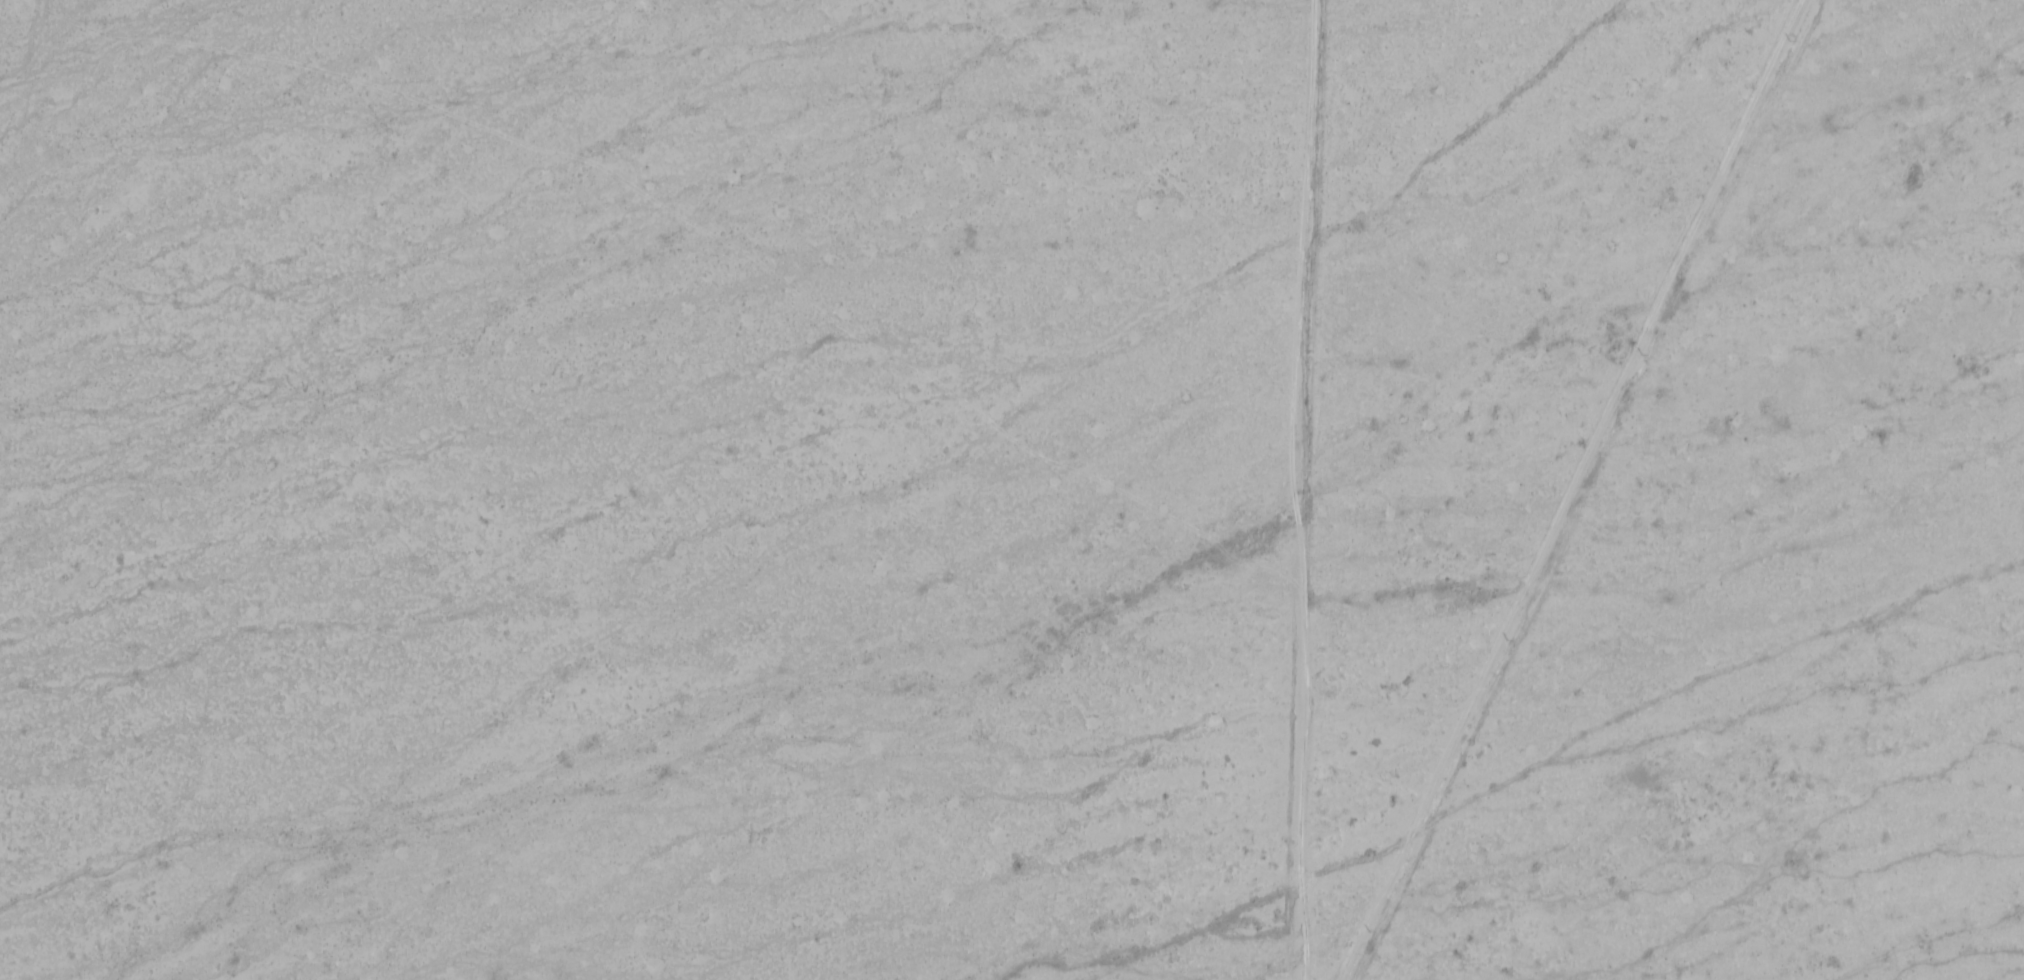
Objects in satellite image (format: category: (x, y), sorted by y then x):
road: (26, 259)
road: (1309, 490)

